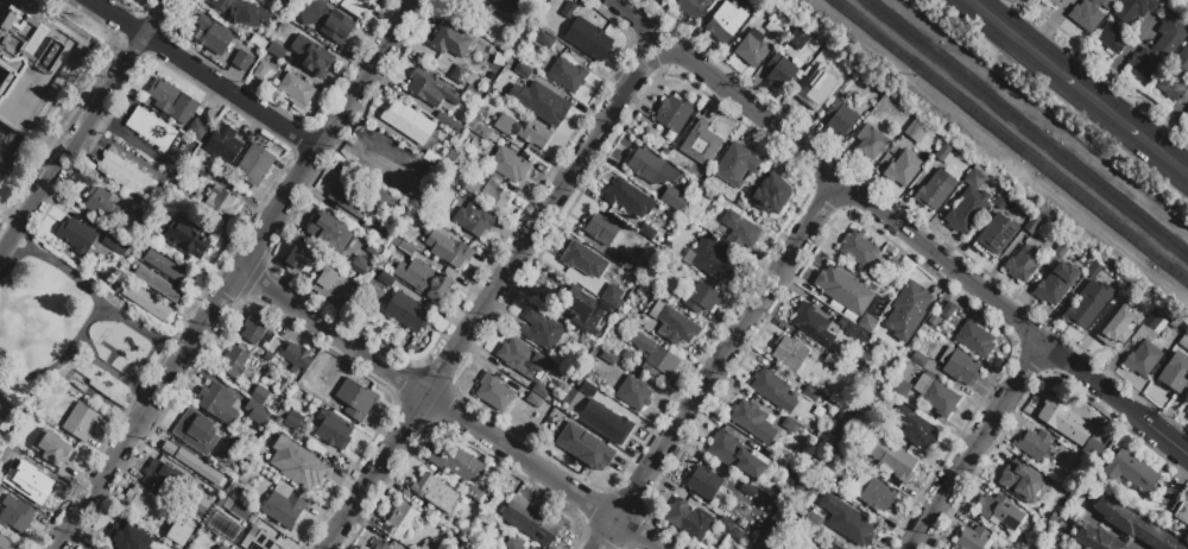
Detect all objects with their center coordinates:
building: (486, 0)
building: (468, 2)
road: (974, 2)
building: (1056, 2)
building: (512, 6)
building: (693, 7)
building: (356, 8)
building: (279, 10)
building: (569, 10)
road: (630, 12)
building: (242, 13)
building: (1089, 13)
building: (327, 21)
building: (1124, 23)
building: (721, 27)
building: (773, 29)
road: (670, 32)
building: (213, 39)
building: (798, 39)
building: (545, 40)
building: (592, 40)
building: (258, 42)
building: (449, 42)
road: (644, 46)
road: (657, 46)
building: (1161, 46)
building: (752, 48)
building: (276, 52)
building: (314, 61)
road: (662, 61)
building: (244, 64)
road: (1105, 65)
building: (32, 67)
building: (781, 71)
building: (523, 72)
road: (203, 74)
building: (263, 74)
building: (462, 76)
building: (567, 76)
building: (1175, 77)
building: (253, 86)
road: (1076, 87)
building: (430, 90)
building: (298, 93)
building: (808, 95)
building: (173, 102)
building: (541, 103)
building: (1187, 111)
building: (671, 115)
road: (760, 116)
building: (839, 119)
building: (402, 120)
building: (504, 124)
road: (84, 125)
building: (453, 125)
railway: (1026, 127)
building: (198, 128)
building: (151, 130)
building: (480, 131)
building: (916, 132)
building: (535, 134)
road: (129, 138)
building: (494, 138)
railway: (1011, 140)
building: (500, 141)
building: (870, 143)
building: (701, 144)
building: (223, 146)
building: (386, 153)
building: (482, 154)
building: (944, 154)
building: (459, 159)
building: (529, 159)
building: (255, 165)
building: (508, 166)
building: (650, 166)
building: (737, 166)
building: (903, 168)
building: (200, 171)
building: (126, 177)
building: (974, 179)
building: (683, 184)
building: (409, 189)
building: (934, 190)
building: (489, 195)
building: (770, 195)
building: (349, 197)
building: (628, 198)
building: (674, 198)
building: (1004, 202)
building: (107, 203)
building: (220, 204)
building: (963, 216)
building: (474, 220)
building: (1032, 226)
building: (329, 228)
building: (601, 228)
building: (739, 229)
road: (535, 232)
building: (647, 232)
building: (369, 233)
building: (76, 235)
building: (994, 235)
building: (150, 236)
building: (188, 240)
building: (402, 245)
building: (114, 246)
building: (449, 250)
building: (858, 250)
building: (1056, 253)
building: (298, 259)
building: (581, 259)
building: (712, 259)
building: (361, 264)
building: (627, 264)
building: (1022, 264)
building: (166, 267)
building: (891, 267)
building: (1094, 271)
building: (652, 272)
road: (234, 273)
building: (424, 278)
building: (385, 279)
building: (1056, 283)
building: (158, 284)
building: (331, 288)
building: (842, 290)
building: (611, 295)
road: (94, 297)
building: (1121, 297)
building: (703, 301)
building: (145, 302)
building: (1087, 304)
building: (625, 310)
building: (908, 310)
building: (948, 310)
building: (406, 311)
building: (581, 311)
road: (1015, 317)
building: (934, 320)
building: (810, 321)
building: (866, 323)
building: (672, 324)
building: (253, 329)
building: (851, 329)
building: (541, 330)
park: (62, 334)
building: (1112, 335)
building: (267, 336)
road: (80, 337)
building: (975, 339)
building: (1183, 342)
building: (276, 345)
building: (1145, 347)
road: (727, 351)
building: (789, 353)
building: (295, 355)
building: (628, 356)
building: (608, 358)
building: (656, 358)
building: (918, 359)
building: (524, 360)
building: (233, 361)
building: (832, 364)
road: (80, 365)
building: (960, 366)
building: (1175, 373)
building: (583, 374)
building: (577, 381)
building: (598, 381)
building: (74, 385)
building: (284, 387)
building: (899, 387)
building: (772, 390)
building: (541, 391)
building: (588, 391)
building: (494, 393)
building: (634, 393)
building: (811, 395)
building: (259, 396)
road: (425, 396)
building: (937, 396)
building: (355, 398)
building: (535, 402)
building: (217, 404)
building: (581, 405)
building: (562, 408)
building: (252, 409)
park: (4, 410)
building: (1187, 411)
building: (593, 412)
building: (1055, 414)
building: (751, 421)
building: (82, 423)
building: (296, 423)
building: (568, 423)
building: (612, 427)
building: (790, 427)
building: (878, 427)
building: (916, 428)
building: (195, 431)
building: (333, 431)
road: (975, 444)
building: (1035, 444)
building: (293, 447)
building: (29, 448)
building: (61, 448)
building: (1092, 448)
building: (593, 456)
building: (737, 456)
building: (887, 456)
building: (858, 459)
building: (459, 462)
building: (195, 465)
building: (27, 466)
building: (1129, 466)
road: (378, 472)
building: (307, 475)
building: (162, 477)
building: (702, 482)
building: (1023, 484)
building: (42, 488)
building: (748, 490)
building: (2, 492)
building: (438, 493)
building: (474, 493)
building: (874, 493)
building: (1165, 498)
building: (143, 503)
building: (1138, 504)
building: (284, 506)
building: (241, 511)
building: (998, 511)
building: (1182, 513)
building: (15, 515)
building: (404, 518)
building: (816, 518)
building: (688, 519)
building: (531, 520)
building: (1132, 524)
building: (855, 526)
building: (729, 528)
building: (461, 530)
building: (179, 534)
road: (605, 535)
road: (636, 535)
building: (771, 536)
building: (128, 537)
building: (972, 538)
building: (1094, 538)
building: (259, 542)
building: (514, 542)
building: (5, 543)
building: (379, 544)
building: (830, 545)
building: (223, 548)
building: (426, 548)
building: (699, 548)

